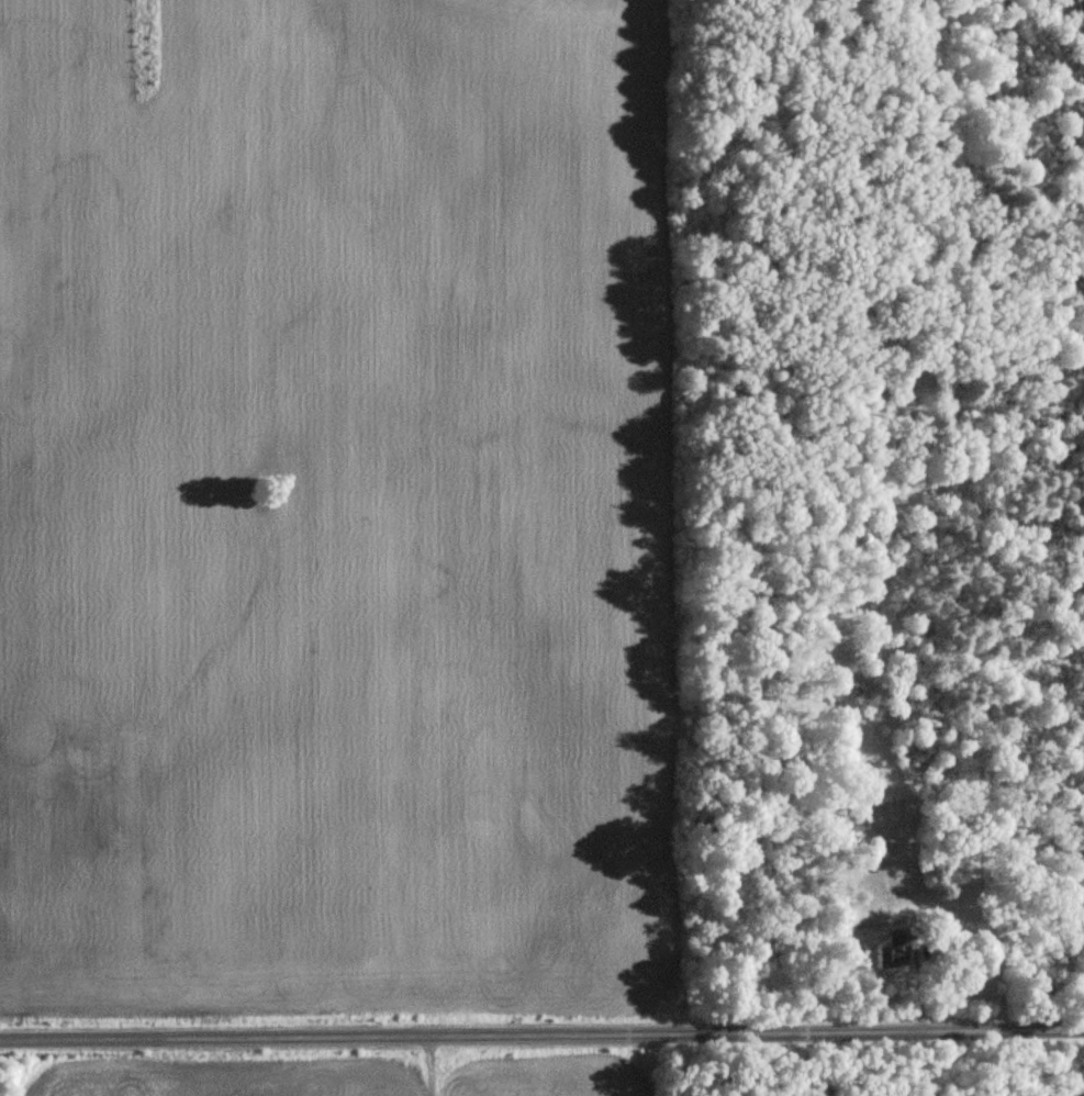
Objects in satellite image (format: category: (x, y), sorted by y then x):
crop: (334, 504)
building: (885, 948)
road: (541, 1036)
crop: (226, 1077)
crop: (562, 1078)

